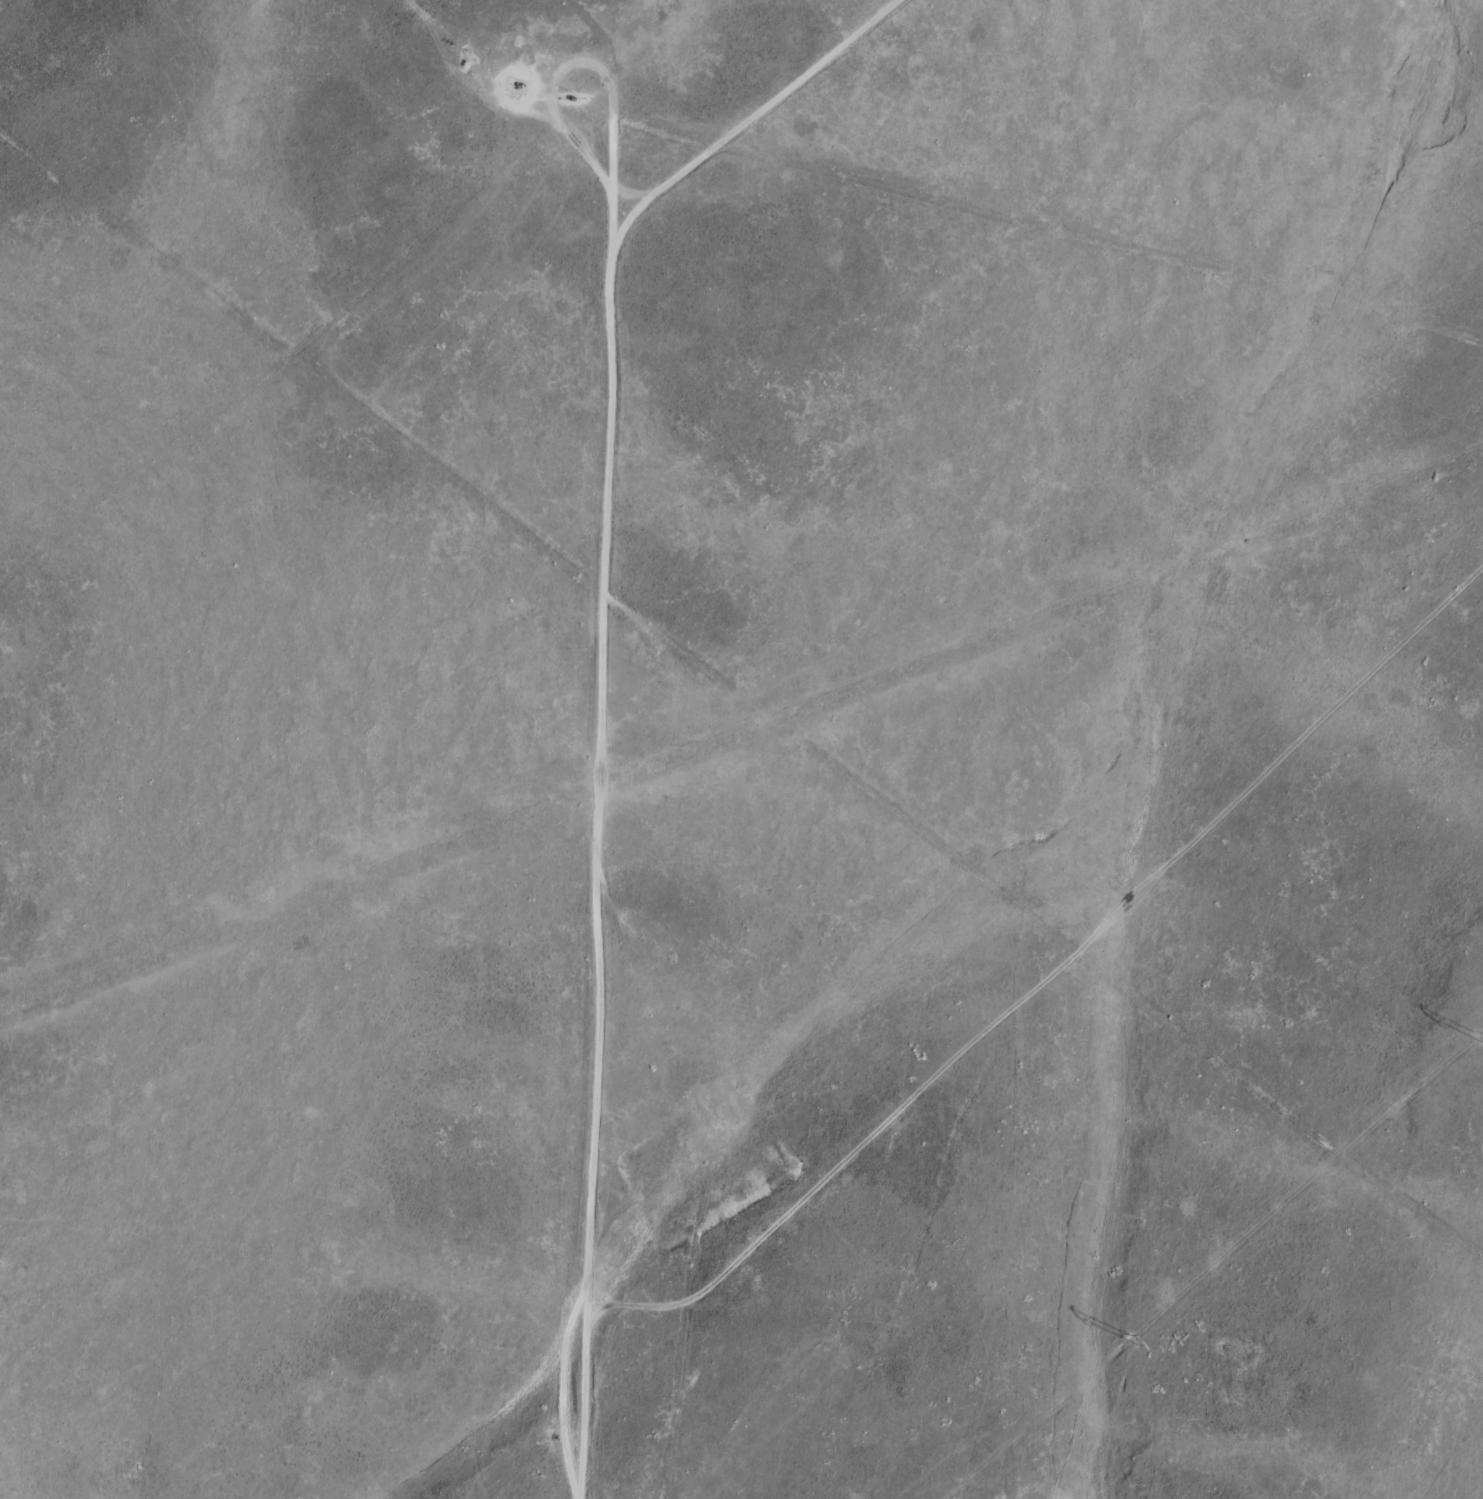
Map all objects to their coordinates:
road: (672, 142)
road: (736, 697)
road: (556, 735)
power tower: (1479, 1037)
power tower: (1131, 1338)

